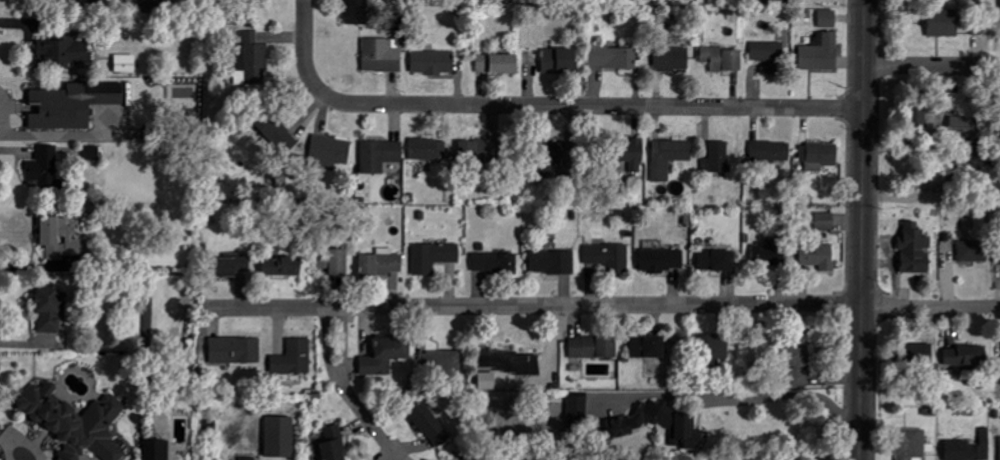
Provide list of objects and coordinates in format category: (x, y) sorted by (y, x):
building: (76, 0)
building: (153, 6)
building: (357, 12)
building: (828, 19)
building: (944, 22)
building: (63, 50)
road: (305, 50)
building: (821, 52)
building: (382, 54)
building: (774, 55)
building: (613, 57)
building: (254, 58)
building: (724, 59)
building: (560, 60)
building: (433, 62)
building: (126, 63)
building: (498, 63)
road: (930, 66)
building: (72, 104)
road: (591, 106)
building: (965, 127)
building: (428, 149)
building: (483, 151)
building: (92, 152)
building: (340, 152)
building: (771, 152)
building: (557, 153)
building: (632, 154)
building: (380, 155)
building: (820, 155)
building: (669, 157)
building: (718, 157)
building: (45, 168)
building: (957, 171)
building: (825, 221)
road: (859, 230)
building: (61, 239)
building: (916, 249)
building: (974, 251)
building: (767, 253)
building: (434, 256)
building: (819, 256)
building: (610, 257)
building: (663, 260)
building: (717, 260)
building: (335, 262)
building: (553, 262)
building: (382, 263)
building: (495, 263)
building: (232, 264)
building: (281, 267)
road: (602, 305)
building: (51, 308)
building: (594, 347)
building: (649, 347)
building: (714, 348)
building: (236, 350)
building: (386, 355)
building: (919, 355)
building: (967, 356)
building: (294, 358)
building: (799, 359)
building: (441, 361)
building: (508, 361)
building: (488, 381)
road: (346, 391)
road: (770, 396)
building: (578, 407)
building: (77, 422)
building: (673, 422)
building: (430, 424)
building: (280, 437)
building: (335, 444)
building: (912, 444)
building: (970, 448)
building: (158, 449)

